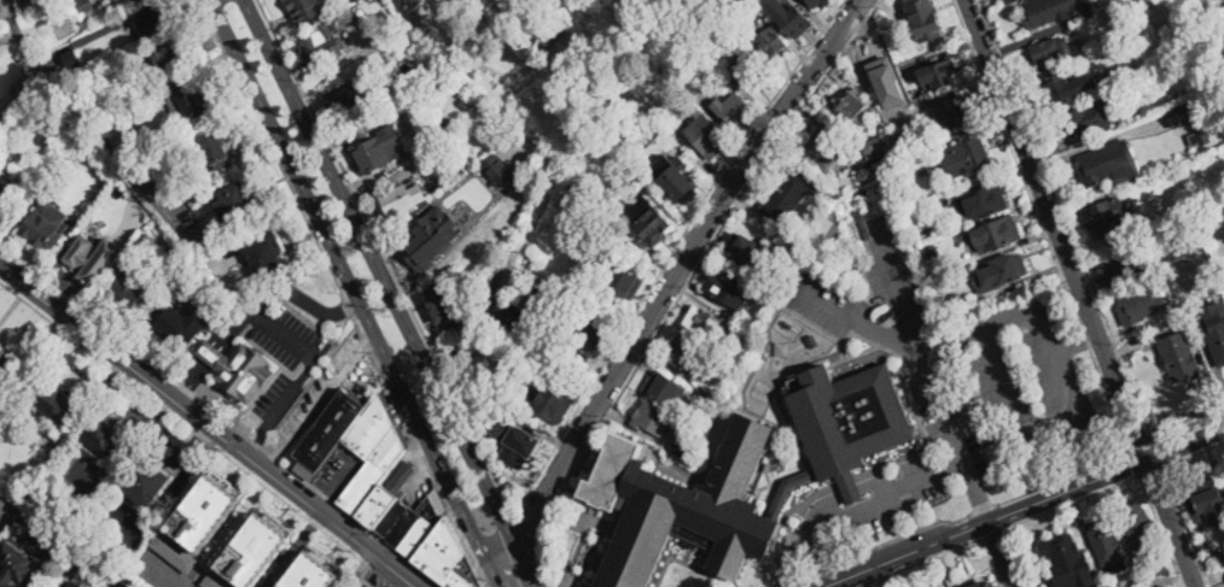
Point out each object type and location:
building: (0, 0)
building: (135, 0)
building: (139, 0)
building: (356, 1)
building: (817, 1)
building: (1009, 1)
building: (25, 2)
building: (82, 5)
building: (308, 10)
building: (1044, 11)
building: (789, 16)
building: (157, 18)
building: (925, 20)
building: (549, 31)
building: (771, 41)
building: (322, 46)
building: (1055, 52)
building: (171, 54)
road: (45, 58)
building: (71, 58)
building: (746, 69)
building: (884, 70)
building: (1136, 71)
building: (94, 75)
building: (572, 75)
building: (939, 75)
building: (1211, 83)
building: (1060, 87)
building: (354, 92)
building: (92, 98)
building: (192, 100)
building: (466, 102)
building: (668, 107)
building: (855, 108)
building: (734, 111)
building: (951, 113)
building: (1185, 113)
building: (1089, 117)
building: (115, 119)
building: (431, 129)
building: (926, 131)
building: (116, 133)
building: (453, 134)
building: (706, 135)
building: (1200, 135)
building: (10, 136)
building: (824, 141)
building: (212, 146)
road: (270, 147)
building: (379, 148)
building: (868, 151)
building: (968, 157)
building: (898, 160)
building: (622, 162)
building: (1101, 165)
building: (497, 168)
building: (635, 177)
building: (674, 177)
building: (862, 177)
building: (885, 178)
building: (6, 189)
building: (789, 195)
building: (401, 199)
building: (235, 201)
building: (985, 202)
road: (734, 205)
building: (1108, 217)
road: (1067, 221)
building: (46, 222)
building: (647, 223)
road: (1043, 225)
road: (1056, 228)
building: (999, 233)
building: (431, 235)
building: (202, 236)
building: (150, 243)
building: (1173, 243)
building: (929, 250)
road: (671, 252)
building: (748, 252)
building: (267, 253)
building: (837, 253)
building: (93, 256)
road: (385, 257)
building: (130, 259)
road: (680, 265)
parking lot: (892, 269)
building: (1001, 272)
building: (1118, 272)
building: (620, 280)
building: (132, 286)
building: (728, 288)
road: (390, 292)
building: (767, 292)
road: (355, 293)
building: (544, 295)
building: (444, 303)
parking lot: (829, 303)
building: (951, 303)
road: (345, 304)
building: (1140, 304)
building: (1176, 309)
building: (512, 313)
road: (862, 323)
building: (1185, 324)
building: (182, 325)
building: (709, 325)
road: (977, 331)
road: (290, 333)
road: (222, 336)
building: (1216, 336)
parking lot: (290, 337)
building: (591, 339)
building: (811, 340)
road: (1074, 347)
building: (684, 356)
building: (1181, 358)
building: (4, 363)
building: (238, 369)
road: (933, 376)
parking lot: (328, 380)
parking lot: (1030, 380)
road: (182, 385)
building: (664, 387)
parking lot: (273, 394)
road: (316, 399)
building: (60, 405)
building: (552, 405)
building: (133, 415)
building: (849, 416)
parking lot: (948, 417)
building: (654, 418)
road: (185, 424)
road: (208, 427)
road: (1189, 427)
road: (1050, 433)
building: (106, 436)
road: (200, 440)
building: (514, 441)
building: (683, 446)
road: (1143, 447)
road: (420, 448)
road: (1159, 453)
road: (1194, 453)
traffic signals: (1148, 457)
road: (1136, 463)
building: (372, 468)
parking lot: (342, 469)
road: (1034, 469)
road: (1152, 470)
parking lot: (931, 474)
road: (1063, 476)
road: (925, 477)
building: (145, 481)
building: (850, 485)
road: (851, 489)
road: (168, 493)
road: (1073, 501)
building: (780, 503)
building: (1207, 503)
road: (556, 504)
road: (822, 505)
road: (878, 505)
building: (682, 506)
road: (1021, 506)
road: (983, 509)
building: (205, 510)
road: (911, 510)
road: (503, 515)
road: (1172, 522)
road: (486, 523)
parking lot: (865, 524)
road: (1187, 526)
building: (1138, 528)
road: (470, 529)
road: (521, 529)
road: (1162, 530)
road: (993, 534)
road: (898, 535)
building: (40, 536)
building: (1107, 545)
building: (256, 547)
building: (175, 550)
road: (293, 550)
road: (816, 552)
road: (998, 553)
building: (1220, 553)
building: (80, 554)
road: (934, 554)
building: (448, 557)
road: (1015, 557)
building: (1065, 559)
road: (991, 563)
building: (13, 564)
building: (1162, 567)
road: (168, 569)
road: (820, 569)
building: (311, 570)
road: (870, 577)
road: (873, 579)
building: (217, 580)
road: (787, 580)
building: (123, 583)
building: (76, 585)
building: (357, 585)
building: (984, 585)
road: (856, 586)
building: (948, 586)

